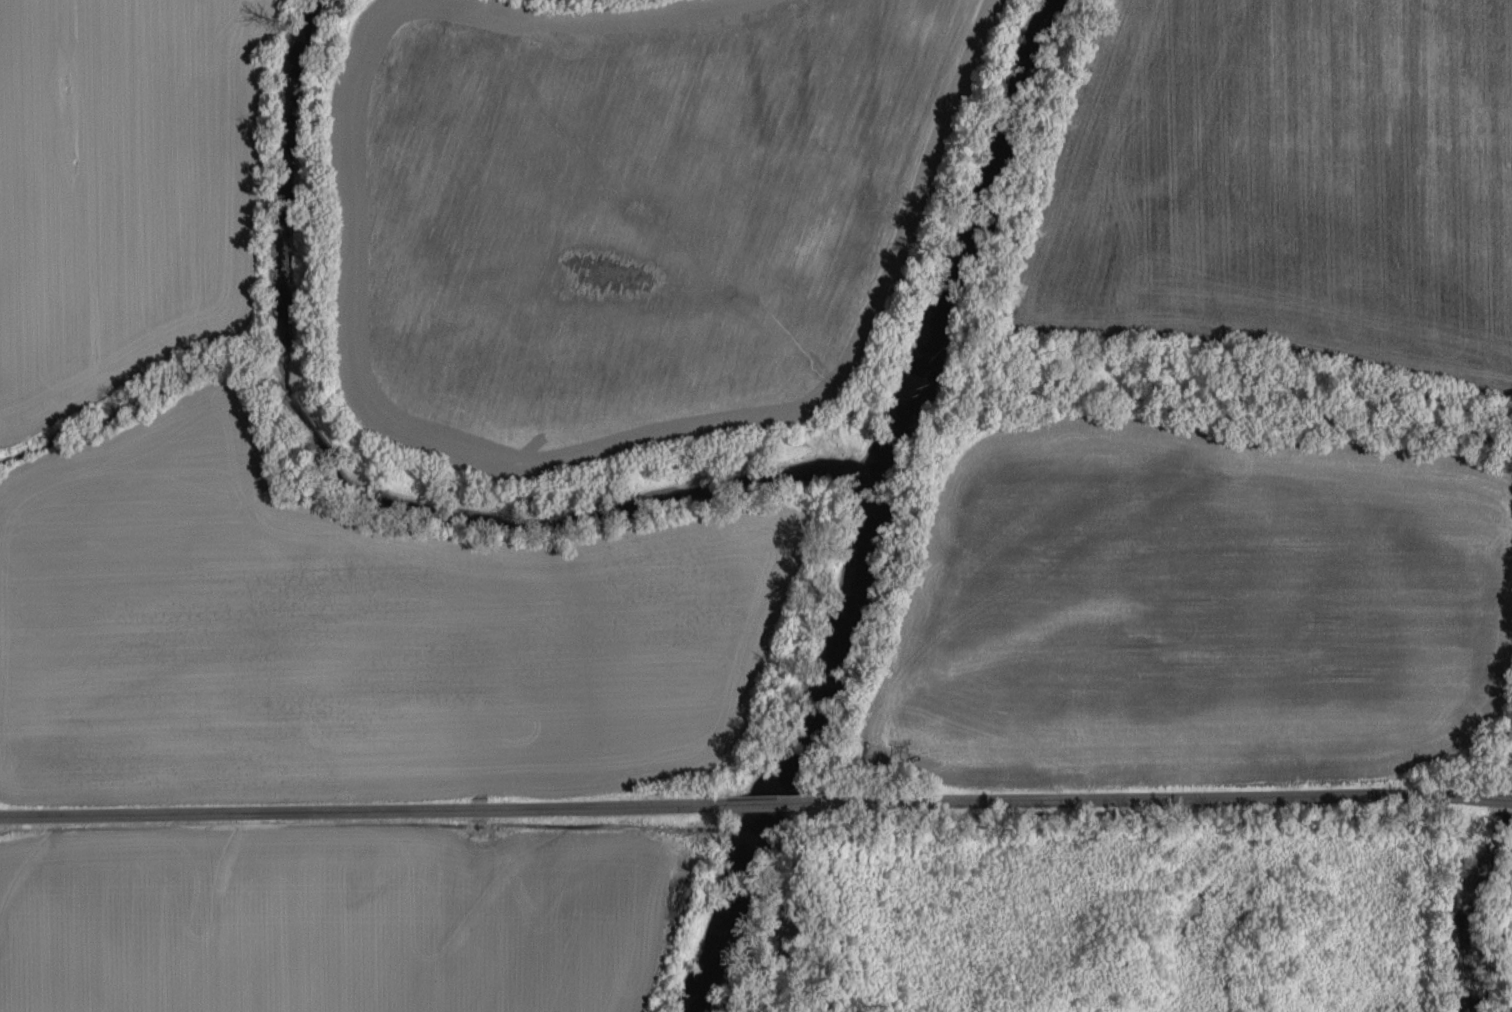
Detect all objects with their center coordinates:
river: (685, 485)
road: (1493, 792)
road: (1155, 795)
road: (782, 801)
road: (364, 815)
river: (1464, 880)

